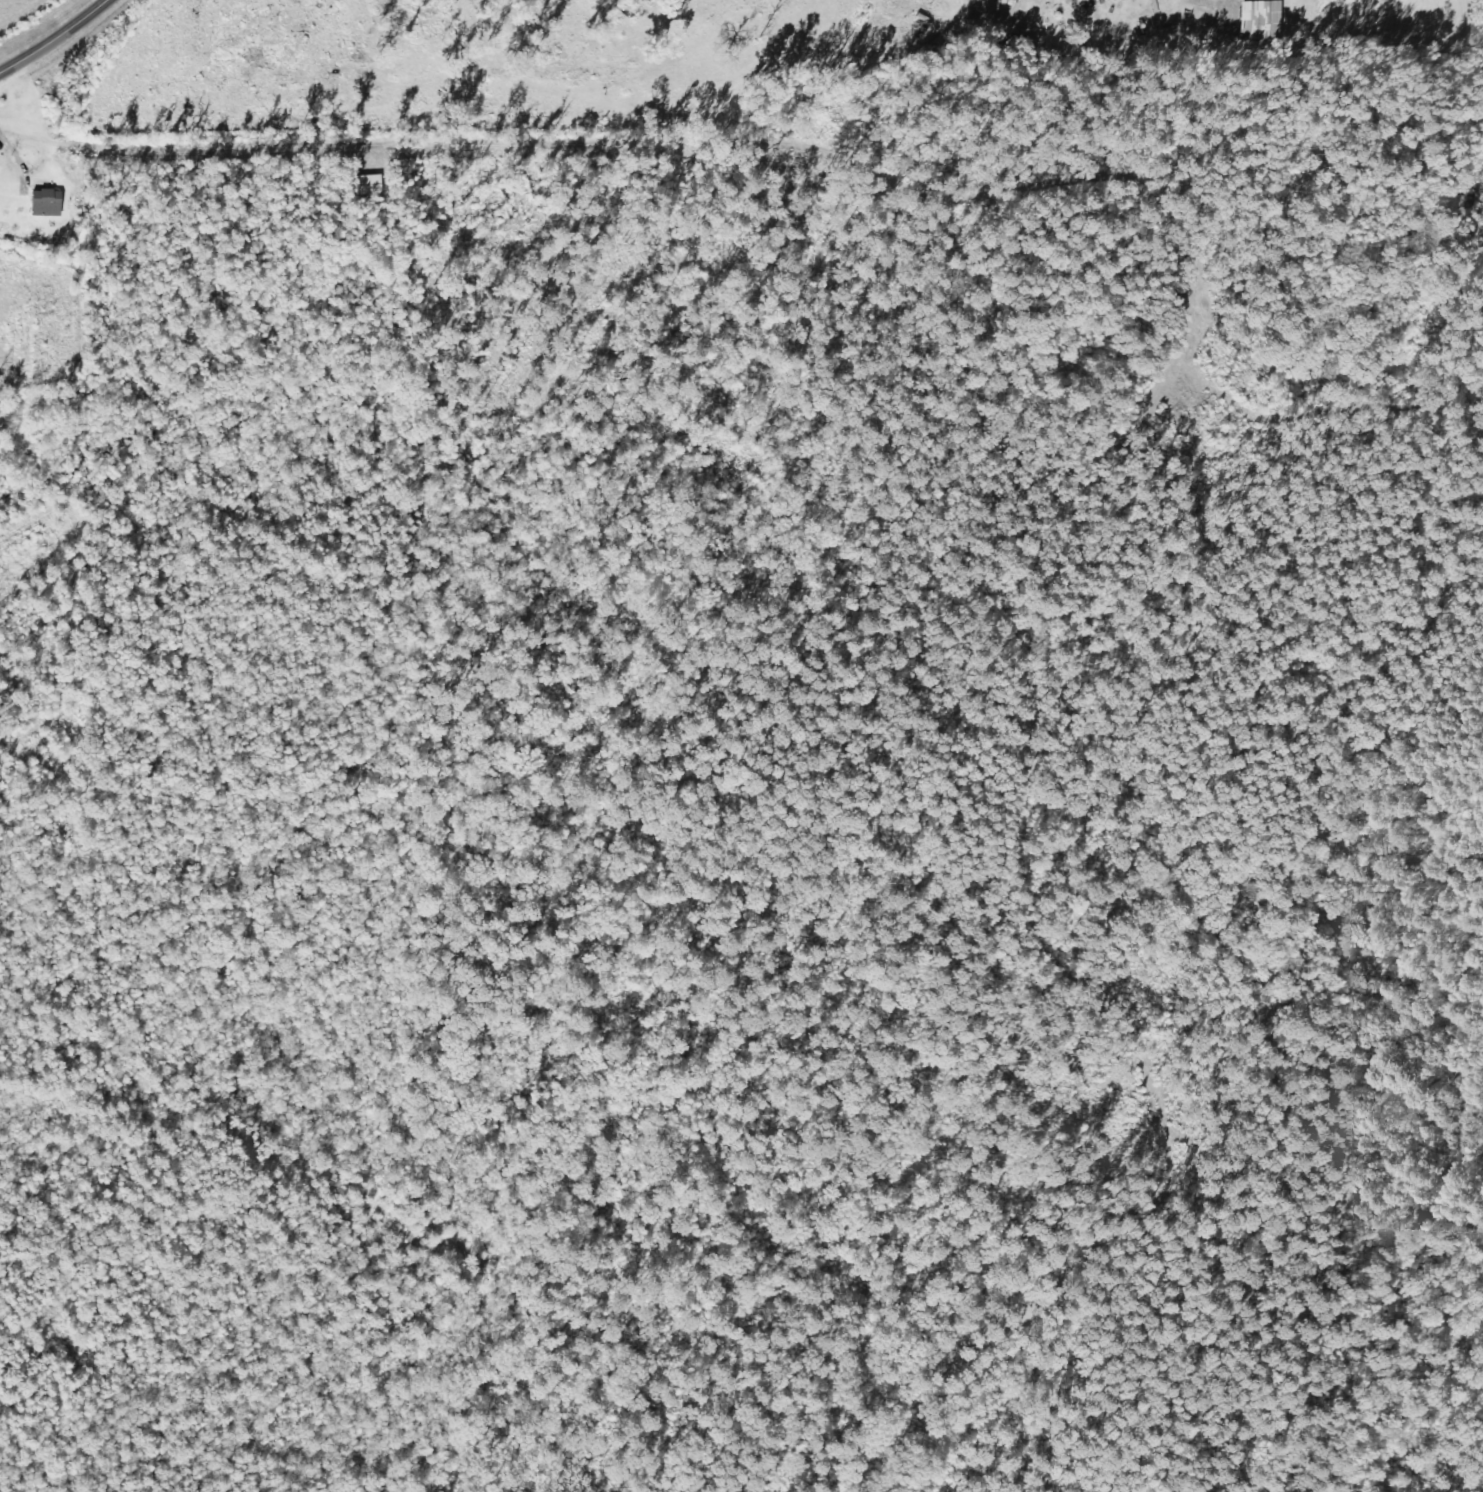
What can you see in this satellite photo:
building: (1264, 20)
road: (55, 37)
road: (865, 165)
building: (374, 185)
building: (50, 203)

